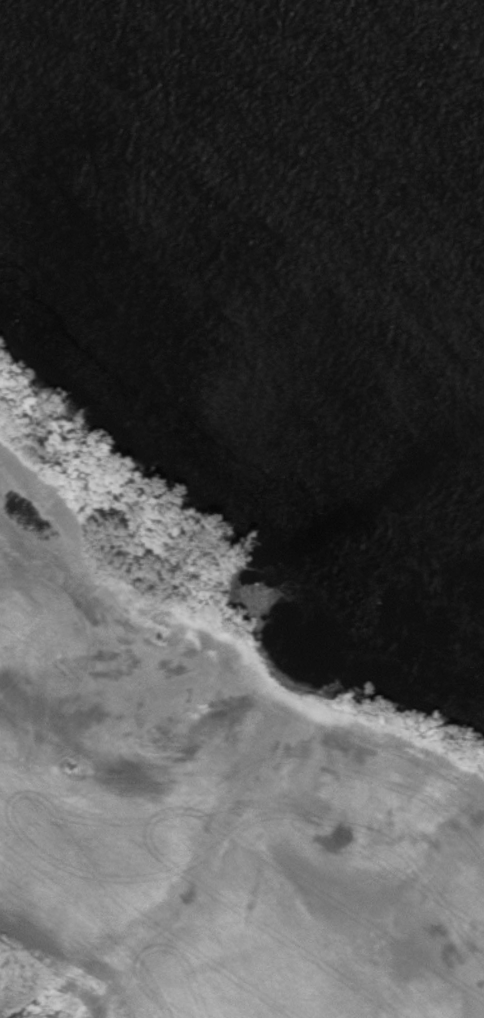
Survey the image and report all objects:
river: (377, 99)
crop: (204, 824)

